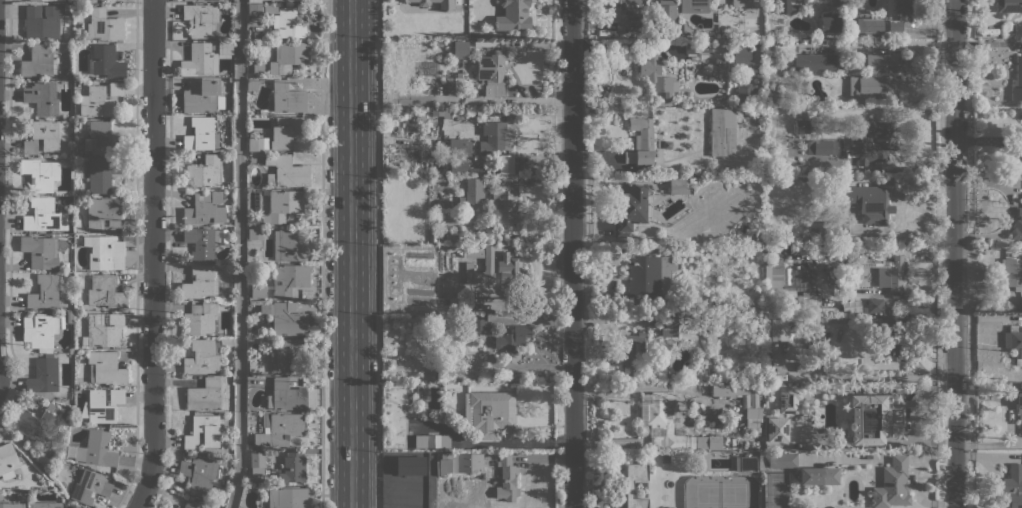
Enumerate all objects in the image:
building: (208, 0)
building: (280, 0)
building: (802, 1)
building: (746, 3)
building: (844, 4)
building: (855, 4)
building: (446, 5)
building: (697, 6)
building: (1009, 6)
building: (84, 7)
building: (784, 7)
building: (66, 8)
building: (270, 8)
building: (899, 9)
building: (255, 10)
building: (623, 14)
building: (513, 16)
building: (666, 18)
building: (201, 19)
building: (41, 21)
building: (829, 22)
building: (288, 23)
building: (79, 24)
building: (104, 25)
building: (869, 25)
building: (896, 26)
building: (687, 28)
road: (620, 44)
building: (691, 46)
building: (705, 47)
building: (460, 49)
building: (741, 55)
building: (289, 56)
building: (205, 58)
building: (38, 61)
building: (105, 61)
building: (719, 61)
building: (814, 62)
building: (258, 67)
building: (493, 72)
building: (656, 73)
building: (876, 77)
building: (1017, 80)
building: (454, 86)
building: (116, 88)
building: (433, 91)
building: (604, 91)
building: (745, 93)
building: (281, 94)
building: (202, 95)
building: (41, 97)
building: (96, 102)
building: (439, 111)
building: (420, 116)
building: (802, 126)
building: (285, 132)
building: (722, 132)
building: (201, 134)
building: (42, 136)
building: (495, 137)
building: (103, 139)
building: (641, 141)
building: (258, 144)
building: (459, 146)
building: (873, 146)
building: (821, 147)
building: (78, 155)
building: (504, 164)
building: (458, 165)
building: (286, 171)
building: (204, 172)
building: (40, 173)
building: (101, 174)
building: (692, 179)
building: (700, 179)
building: (677, 185)
building: (474, 190)
building: (461, 199)
building: (868, 202)
building: (505, 203)
building: (282, 205)
building: (204, 208)
building: (631, 209)
building: (103, 212)
building: (44, 216)
building: (1017, 226)
building: (255, 233)
building: (453, 235)
building: (201, 242)
building: (288, 246)
building: (39, 251)
building: (104, 252)
road: (238, 254)
road: (321, 254)
road: (350, 254)
road: (378, 254)
road: (571, 254)
road: (955, 254)
road: (152, 255)
building: (469, 267)
building: (889, 272)
building: (509, 273)
building: (1010, 274)
building: (773, 278)
building: (791, 278)
building: (883, 278)
building: (649, 279)
building: (284, 281)
building: (199, 282)
building: (851, 289)
building: (44, 291)
building: (103, 291)
building: (759, 302)
building: (720, 303)
building: (873, 305)
building: (850, 306)
building: (811, 310)
building: (483, 311)
building: (69, 317)
building: (814, 317)
building: (200, 319)
building: (284, 319)
building: (889, 319)
building: (472, 322)
building: (706, 323)
building: (669, 326)
building: (778, 328)
building: (39, 330)
building: (103, 330)
building: (710, 337)
building: (512, 339)
building: (226, 342)
building: (1013, 343)
building: (893, 345)
building: (47, 350)
building: (632, 353)
building: (48, 354)
building: (284, 354)
building: (202, 356)
building: (809, 365)
building: (255, 367)
building: (105, 368)
building: (43, 375)
building: (430, 375)
building: (439, 376)
building: (1020, 385)
building: (204, 395)
building: (285, 395)
building: (789, 399)
building: (753, 401)
building: (101, 405)
building: (1019, 405)
building: (53, 408)
building: (489, 414)
building: (659, 417)
building: (868, 418)
building: (36, 427)
building: (279, 429)
building: (777, 429)
building: (202, 431)
building: (431, 441)
building: (96, 449)
building: (8, 460)
building: (780, 460)
building: (761, 461)
building: (256, 462)
building: (458, 463)
building: (747, 463)
building: (424, 465)
building: (293, 466)
building: (199, 473)
building: (818, 475)
building: (506, 479)
building: (631, 484)
building: (892, 484)
building: (1013, 485)
building: (89, 486)
building: (20, 496)
building: (287, 497)
building: (12, 505)
building: (45, 505)
building: (191, 505)
building: (836, 507)

